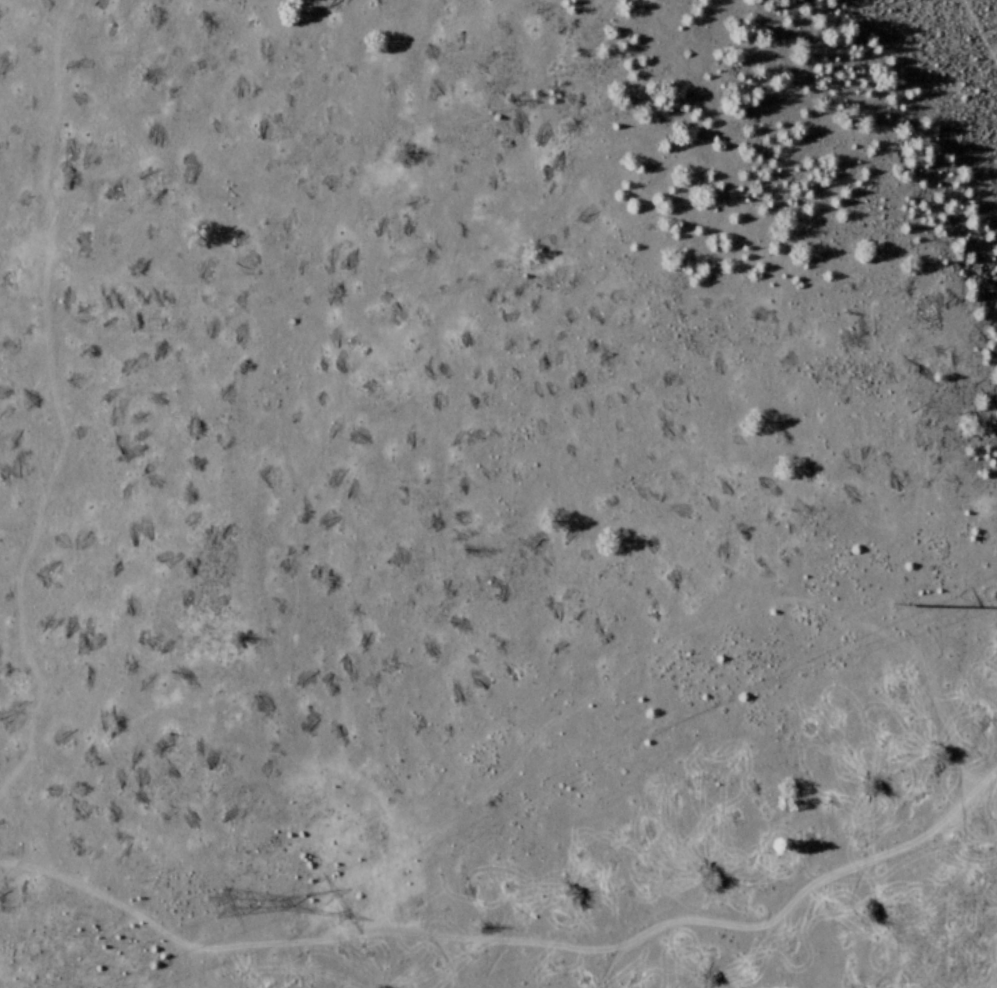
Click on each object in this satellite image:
power tower: (900, 608)
power tower: (222, 906)

